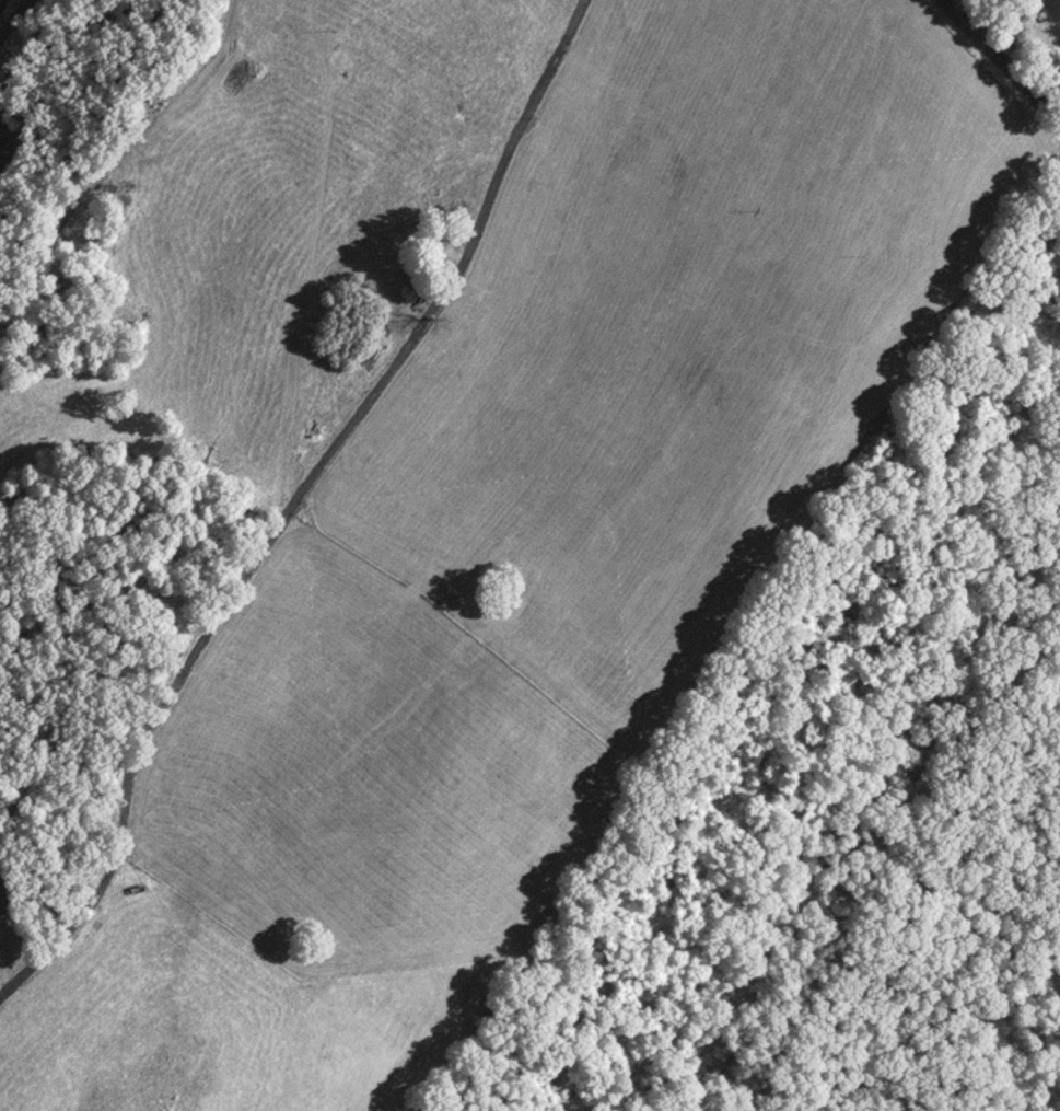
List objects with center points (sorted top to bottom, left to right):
road: (15, 18)
road: (1005, 48)
road: (277, 507)

